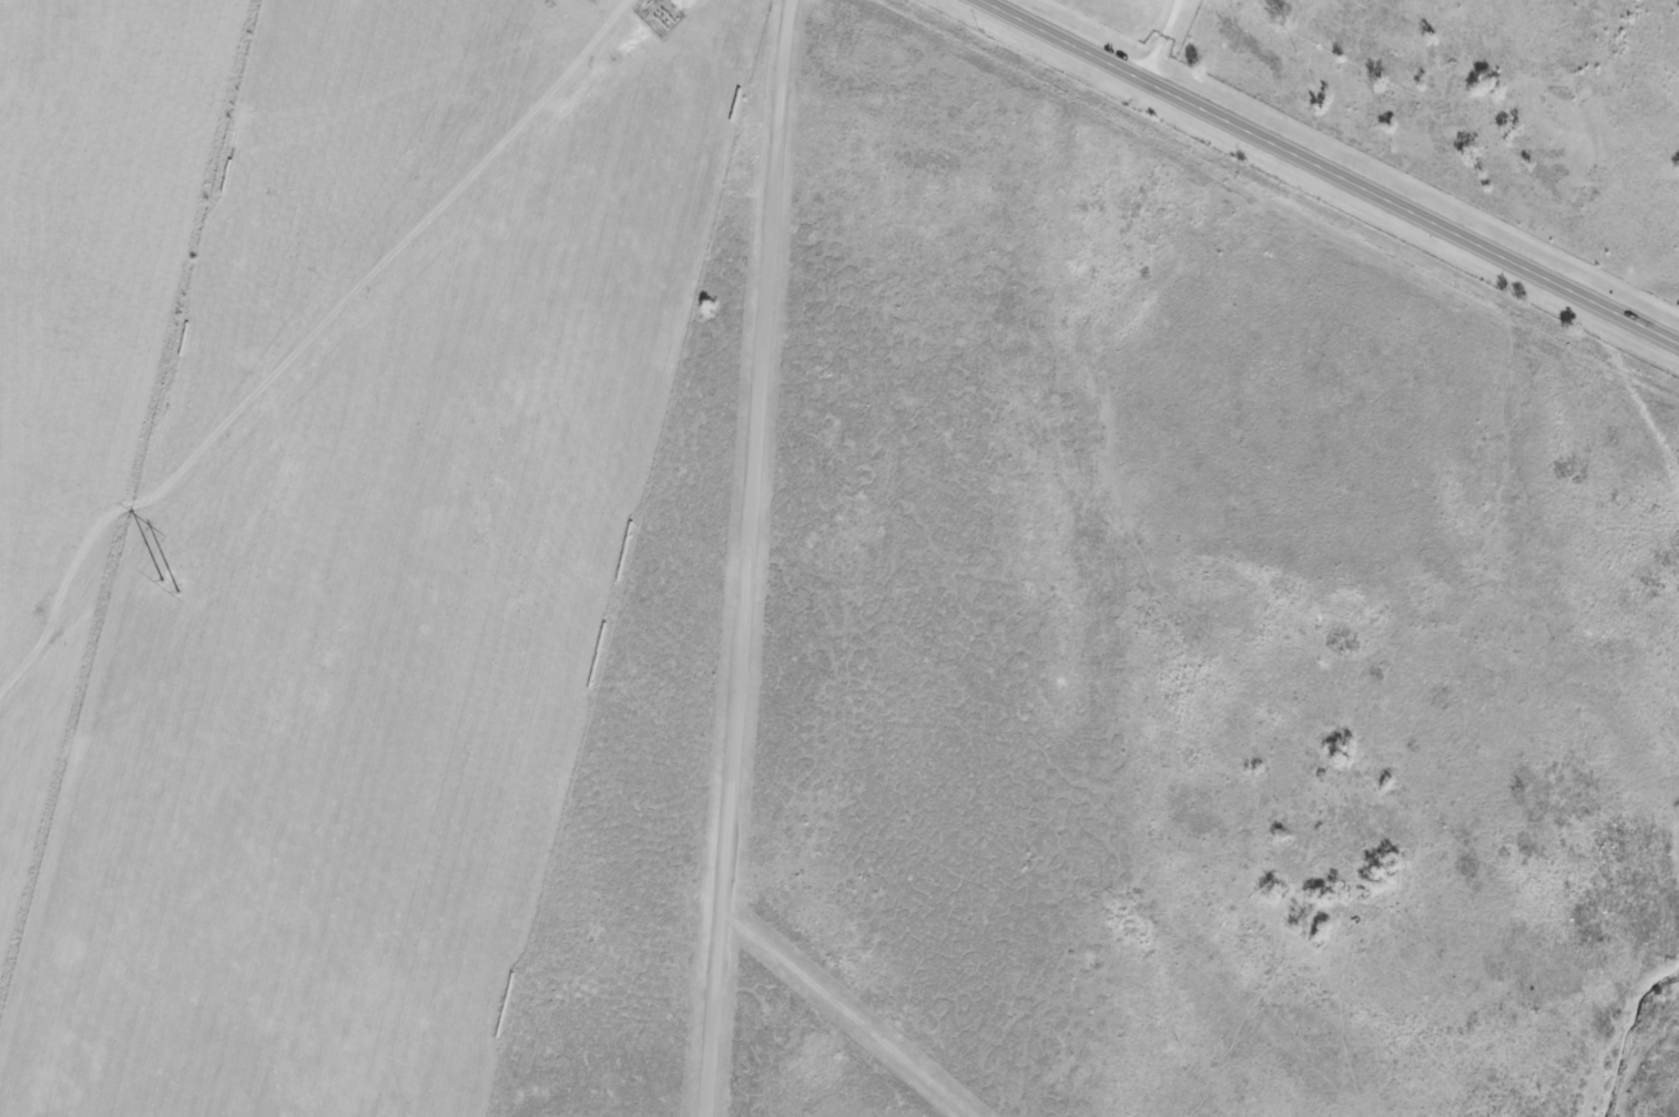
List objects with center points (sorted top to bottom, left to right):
road: (1332, 168)
road: (749, 557)
power tower: (180, 580)

